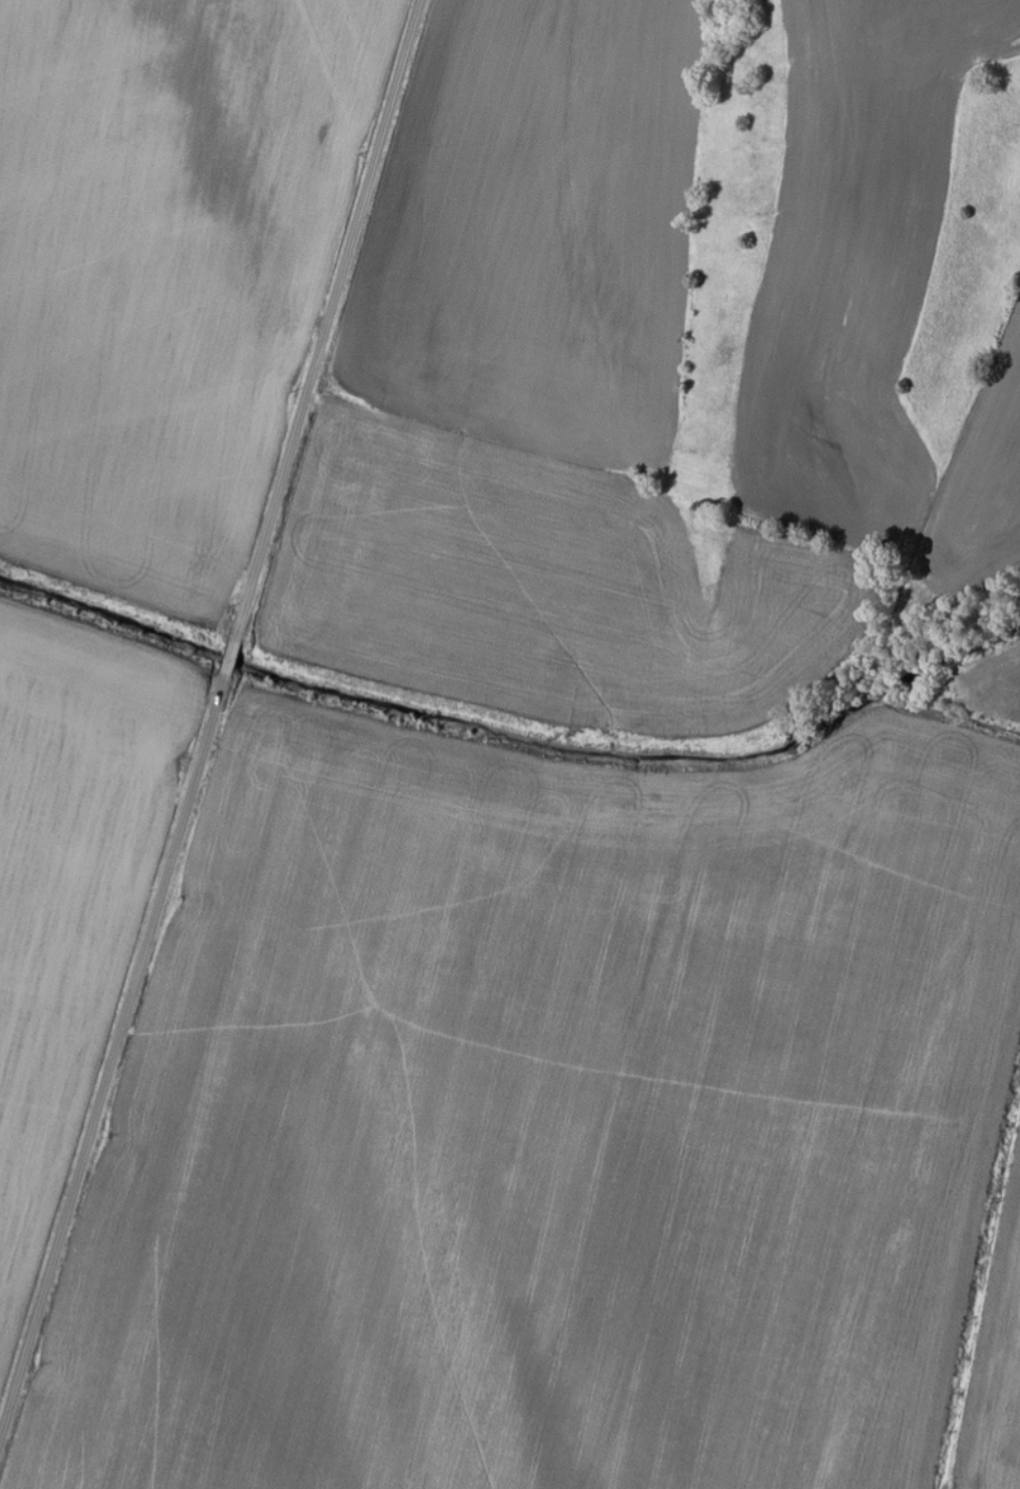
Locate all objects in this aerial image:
road: (213, 723)

